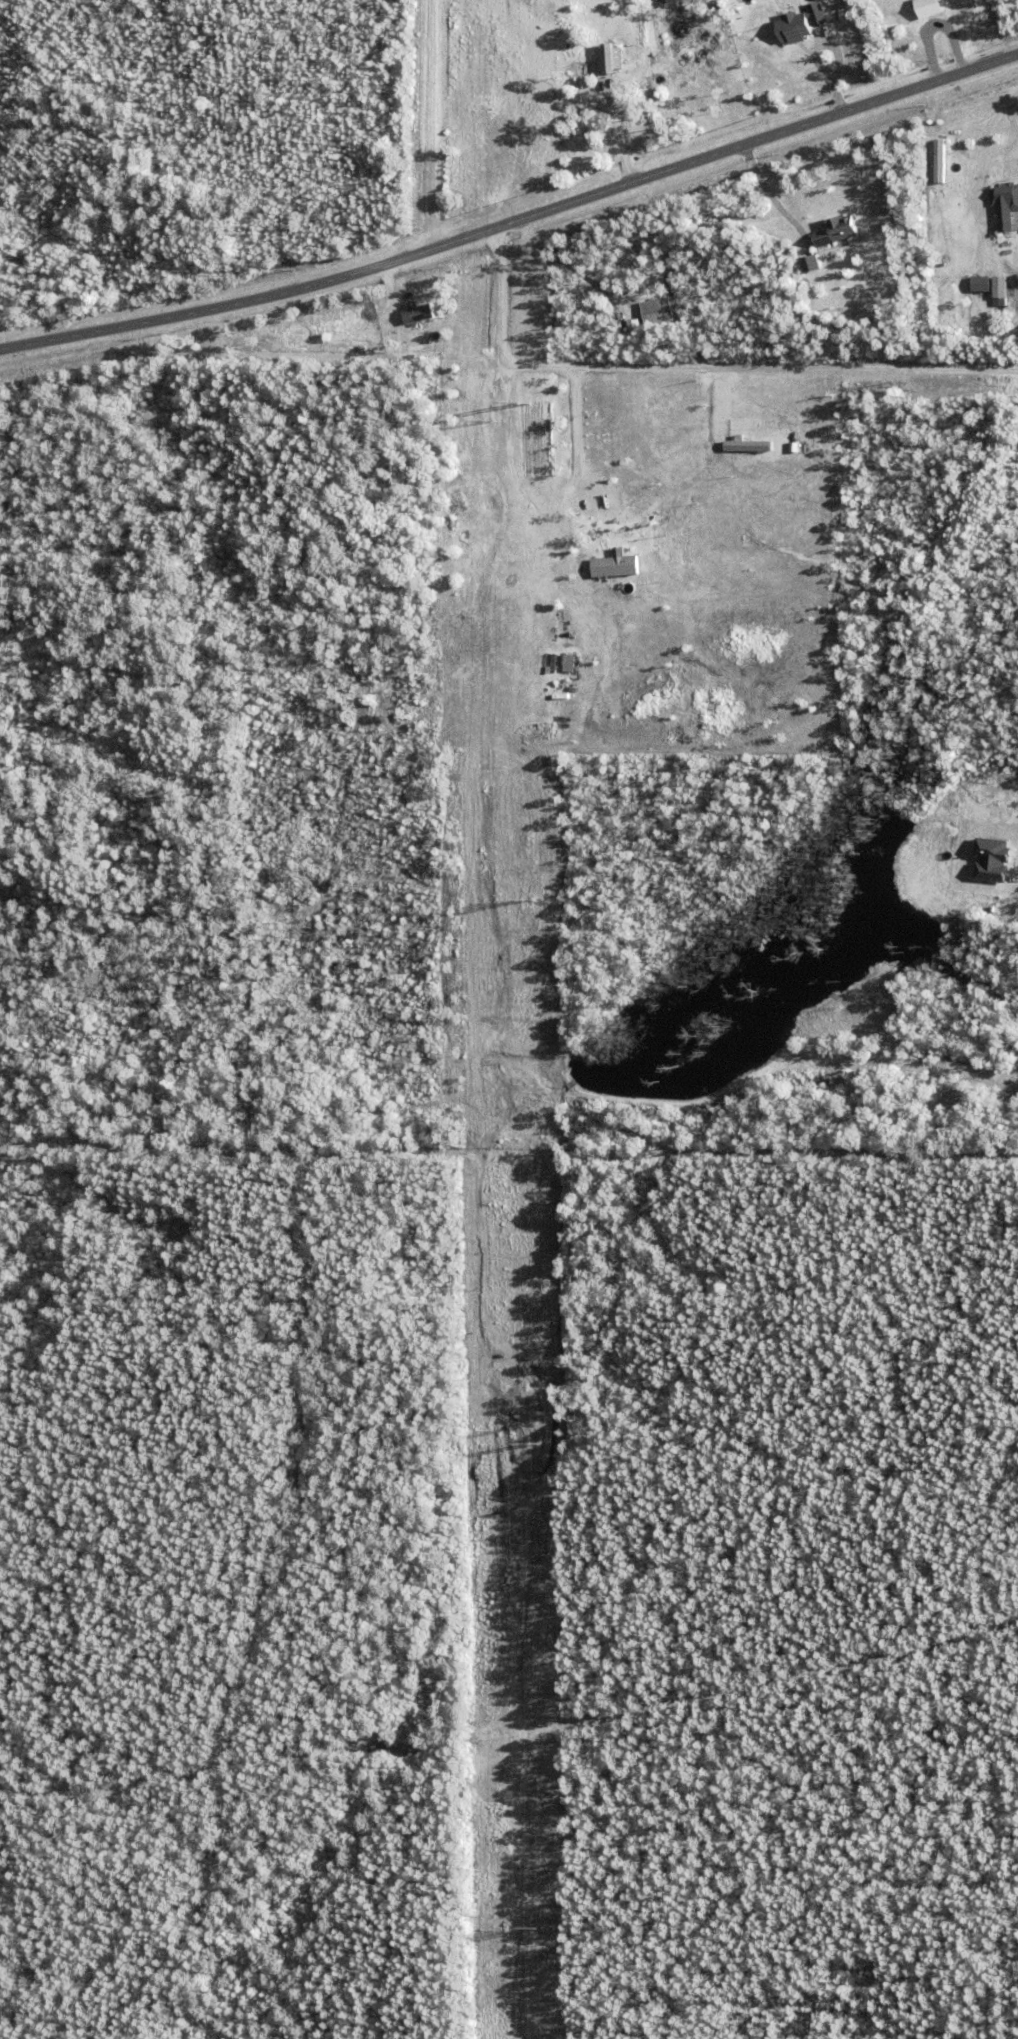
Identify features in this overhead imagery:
building: (924, 7)
building: (815, 12)
building: (794, 29)
building: (607, 57)
road: (428, 127)
road: (1006, 138)
road: (986, 140)
road: (768, 196)
building: (1005, 196)
building: (946, 206)
road: (514, 224)
building: (837, 233)
building: (808, 263)
road: (652, 269)
building: (978, 283)
building: (998, 291)
building: (416, 312)
building: (660, 312)
building: (636, 327)
building: (612, 566)
building: (567, 662)
building: (989, 856)

